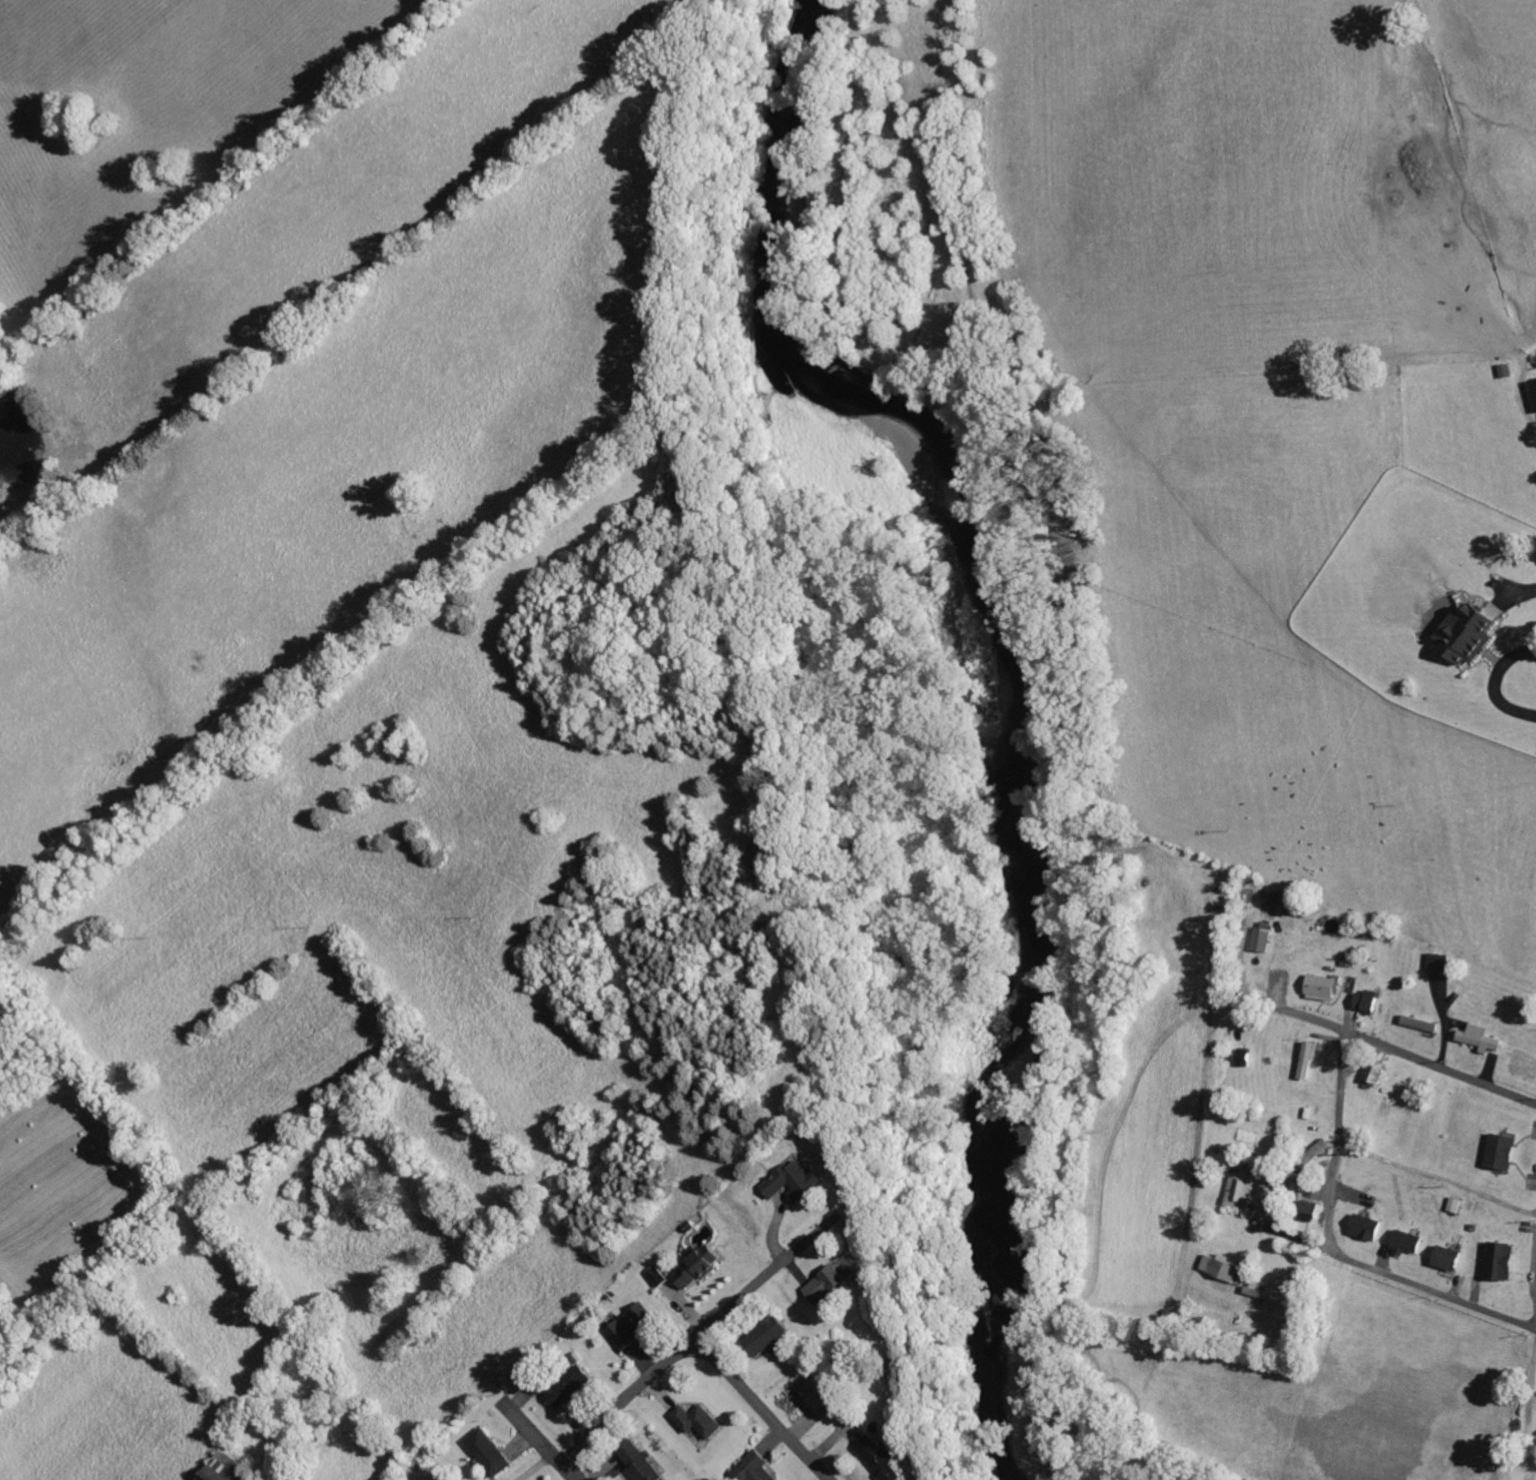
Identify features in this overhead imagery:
building: (1535, 388)
building: (1472, 634)
building: (1277, 898)
building: (1296, 907)
building: (1264, 939)
building: (1441, 963)
building: (1324, 986)
building: (1368, 1001)
road: (1286, 1011)
building: (1422, 1024)
building: (1482, 1038)
building: (1248, 1059)
building: (1311, 1061)
road: (1422, 1062)
road: (1242, 1121)
road: (1337, 1142)
building: (1505, 1152)
building: (795, 1182)
building: (1242, 1190)
building: (1457, 1205)
building: (1315, 1213)
building: (1368, 1228)
building: (1410, 1243)
building: (1451, 1259)
building: (1504, 1262)
building: (699, 1266)
building: (1229, 1268)
building: (659, 1276)
road: (1402, 1281)
building: (828, 1285)
road: (745, 1294)
building: (634, 1326)
building: (771, 1334)
building: (565, 1385)
building: (819, 1393)
road: (627, 1399)
road: (763, 1410)
building: (701, 1420)
road: (546, 1446)
building: (490, 1451)
building: (885, 1458)
building: (641, 1462)
building: (758, 1467)
building: (230, 1468)

